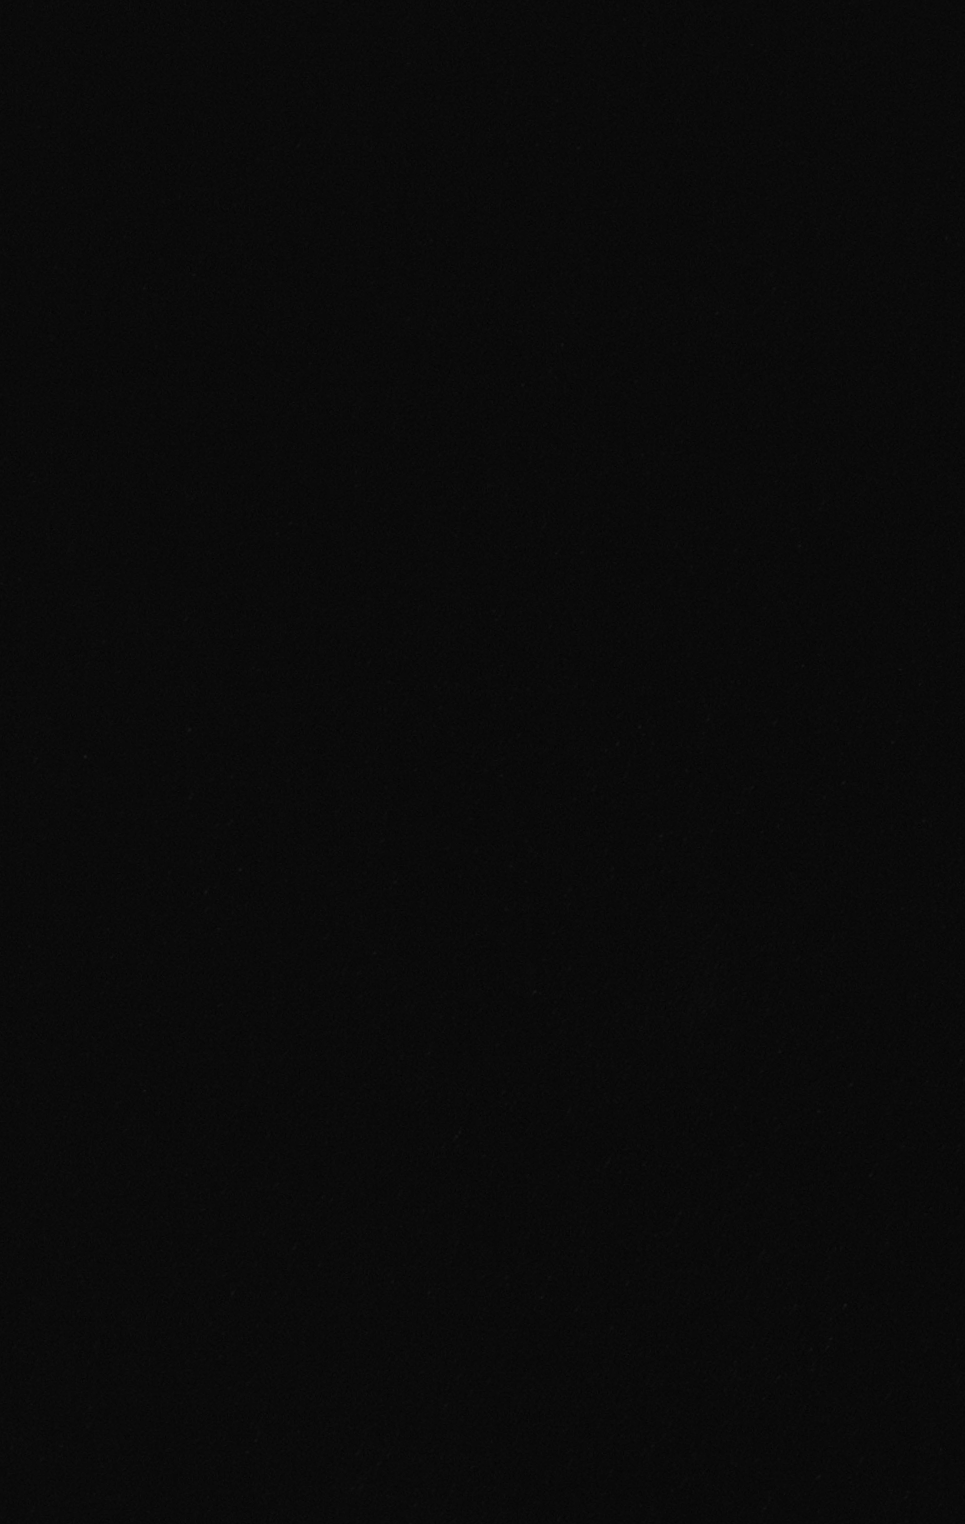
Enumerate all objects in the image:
river: (44, 203)
river: (442, 562)
river: (880, 936)

